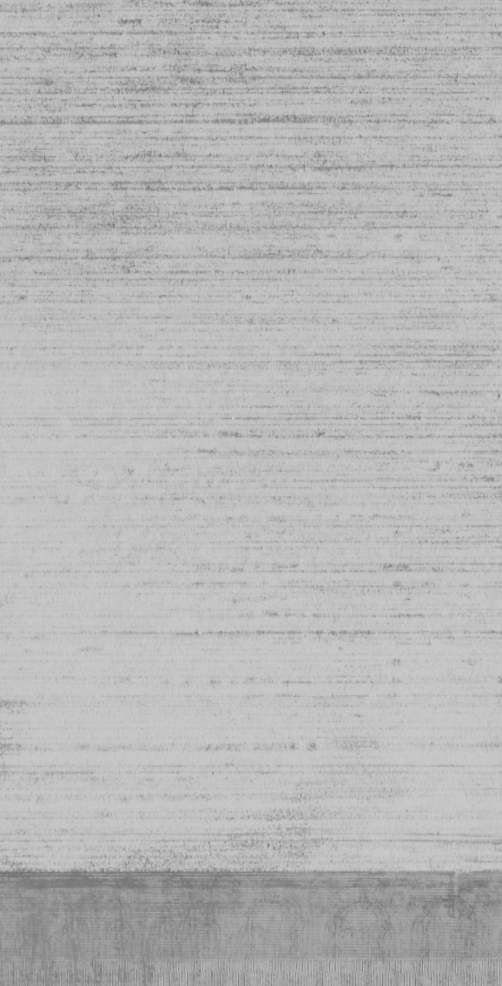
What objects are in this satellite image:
crop: (251, 493)

